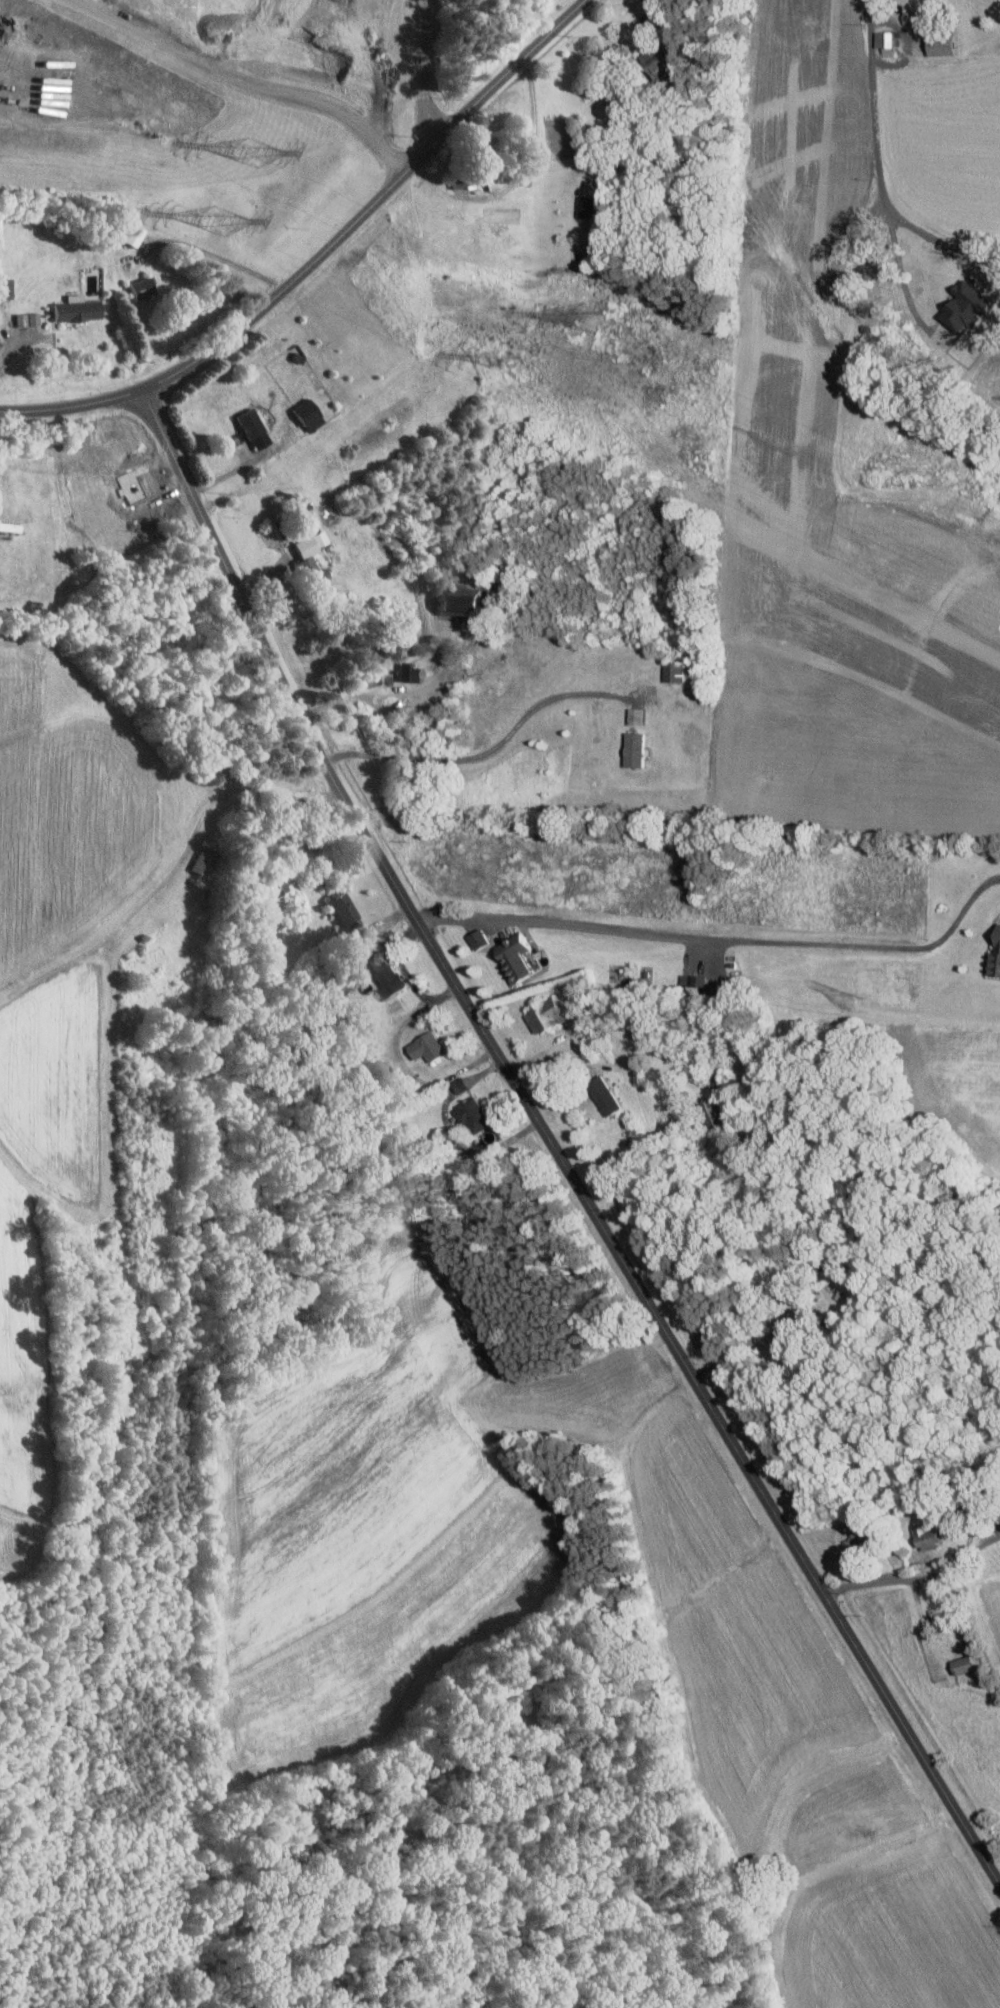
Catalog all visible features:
building: (914, 17)
building: (887, 40)
building: (947, 43)
road: (430, 71)
road: (245, 80)
power tower: (252, 148)
road: (876, 156)
road: (518, 177)
building: (498, 178)
building: (464, 181)
building: (592, 205)
power tower: (221, 220)
building: (134, 234)
road: (320, 254)
road: (218, 256)
road: (901, 277)
building: (8, 287)
building: (146, 288)
building: (968, 306)
building: (80, 308)
power tower: (591, 316)
building: (30, 318)
road: (12, 350)
power tower: (509, 360)
building: (311, 414)
building: (257, 428)
road: (244, 464)
road: (199, 505)
building: (12, 526)
building: (463, 604)
building: (676, 671)
building: (414, 673)
road: (401, 694)
building: (639, 716)
building: (637, 749)
road: (488, 751)
building: (346, 909)
road: (722, 932)
building: (482, 939)
building: (521, 958)
building: (995, 962)
building: (392, 981)
building: (549, 1016)
building: (431, 1047)
road: (557, 1060)
building: (462, 1085)
building: (609, 1100)
building: (714, 1113)
building: (476, 1116)
road: (620, 1258)
road: (770, 1327)
road: (975, 1519)
building: (861, 1538)
road: (978, 1545)
road: (893, 1578)
building: (969, 1665)

